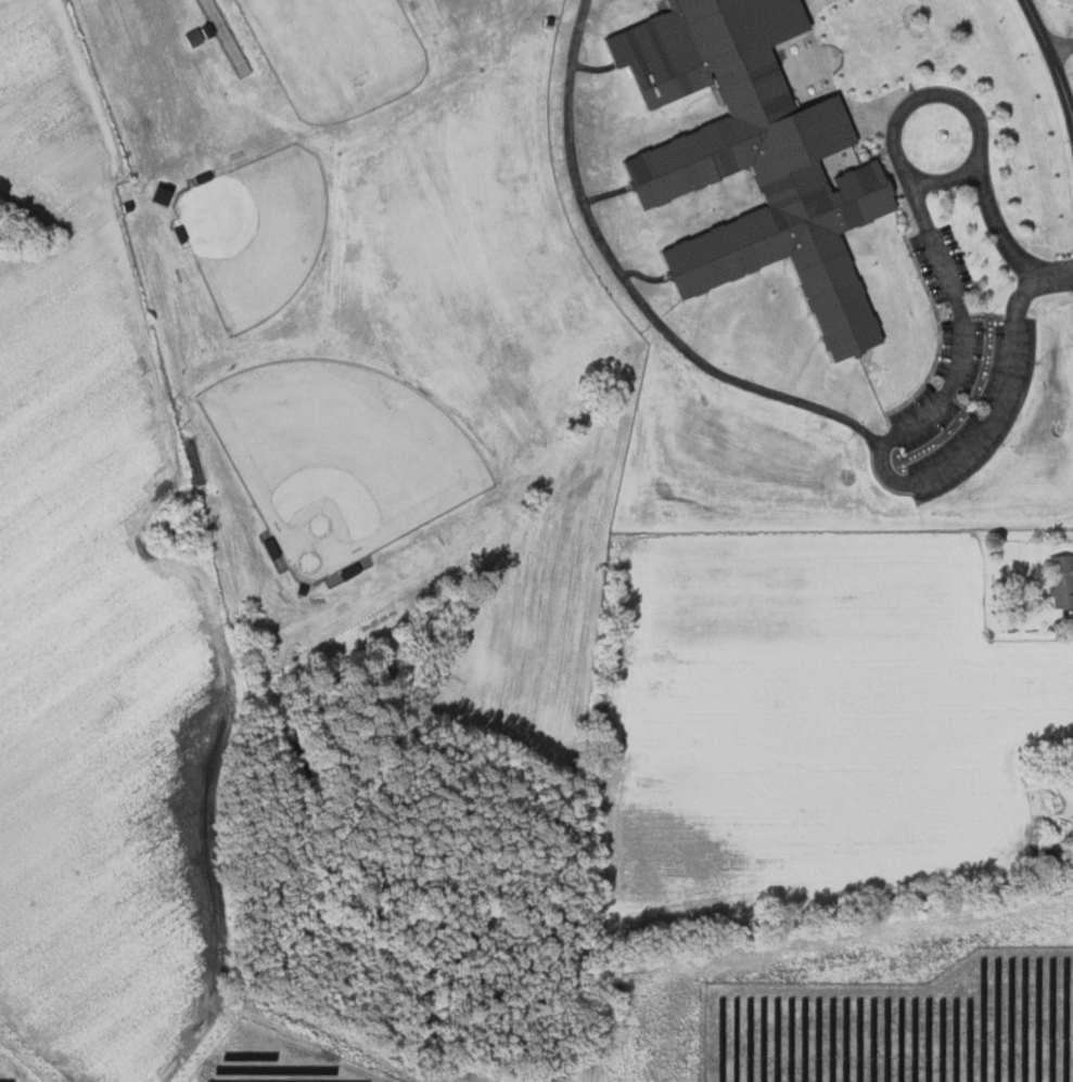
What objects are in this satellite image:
building: (229, 37)
park: (334, 42)
road: (1060, 44)
road: (1051, 53)
stadium: (331, 56)
road: (930, 95)
building: (755, 157)
road: (948, 178)
building: (167, 194)
road: (1008, 244)
road: (631, 287)
road: (884, 450)
building: (1062, 580)

